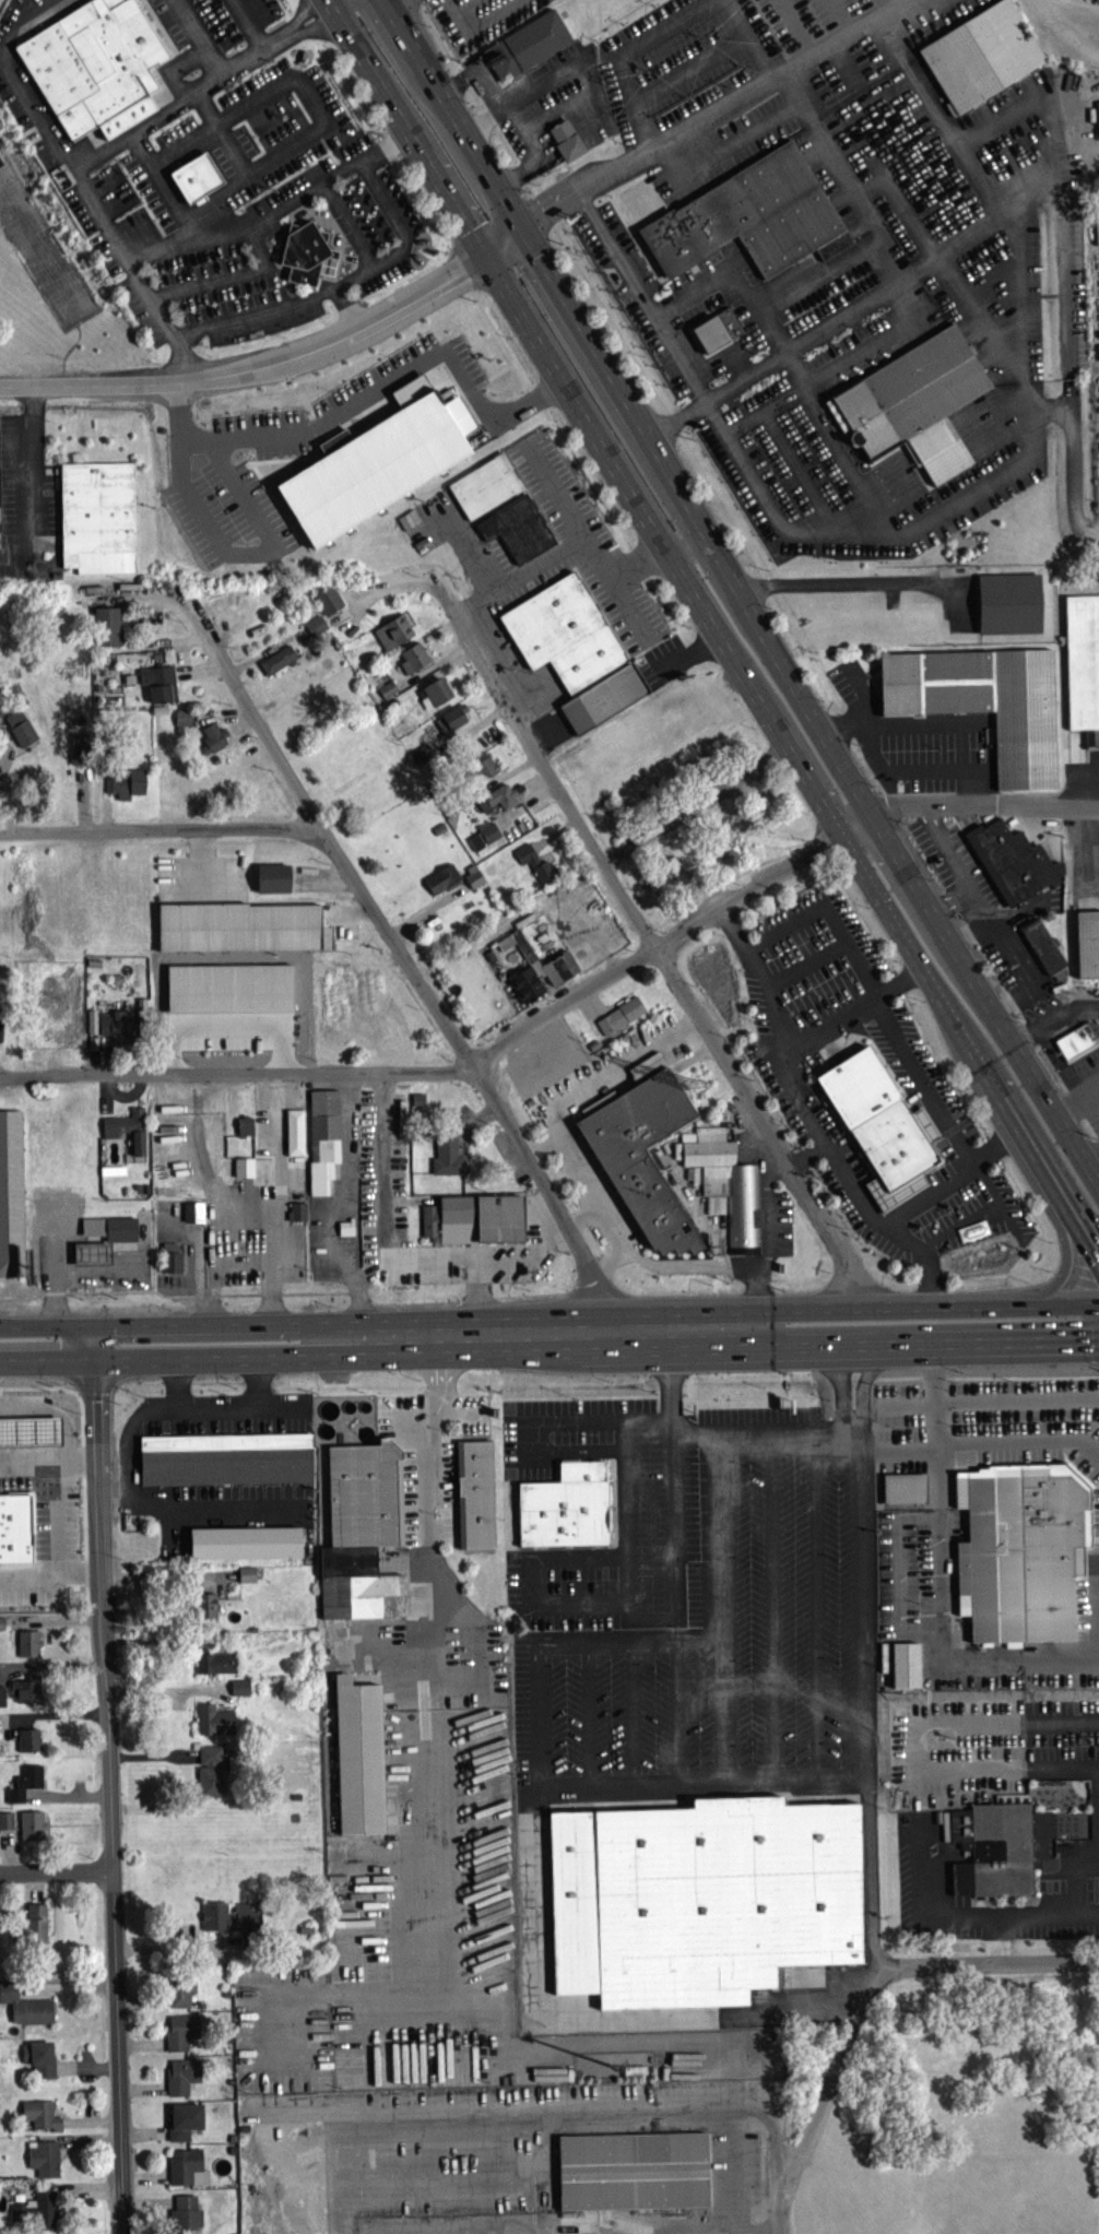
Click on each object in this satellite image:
road: (387, 2)
building: (527, 44)
building: (981, 54)
road: (235, 64)
building: (96, 66)
road: (544, 90)
road: (483, 97)
road: (624, 99)
road: (726, 106)
building: (1097, 120)
road: (146, 121)
road: (741, 135)
building: (567, 139)
parking lot: (911, 140)
road: (530, 154)
road: (267, 163)
building: (197, 176)
road: (79, 178)
road: (852, 189)
road: (270, 214)
road: (532, 216)
building: (752, 216)
traffic signals: (521, 224)
building: (308, 252)
road: (614, 259)
traffic signals: (476, 264)
road: (824, 272)
road: (697, 292)
road: (1020, 294)
road: (279, 305)
parking lot: (650, 305)
road: (853, 308)
building: (717, 328)
road: (991, 335)
road: (1068, 346)
road: (279, 363)
road: (832, 367)
road: (381, 383)
building: (913, 401)
road: (840, 448)
building: (375, 468)
road: (24, 472)
road: (802, 475)
building: (485, 485)
building: (98, 516)
building: (519, 528)
road: (588, 541)
road: (881, 542)
road: (231, 551)
road: (661, 557)
road: (520, 577)
road: (745, 588)
road: (850, 589)
building: (1008, 601)
building: (327, 603)
building: (315, 629)
building: (106, 630)
building: (564, 631)
road: (712, 631)
building: (392, 636)
building: (412, 662)
building: (276, 664)
building: (1082, 672)
building: (157, 687)
building: (386, 694)
building: (433, 697)
building: (604, 697)
road: (868, 699)
building: (984, 700)
building: (181, 722)
building: (450, 723)
road: (927, 723)
building: (19, 732)
parking lot: (908, 736)
building: (211, 743)
building: (78, 753)
building: (416, 757)
building: (483, 772)
road: (911, 772)
building: (125, 788)
road: (1091, 789)
road: (990, 801)
building: (498, 802)
road: (695, 806)
road: (156, 827)
building: (483, 839)
road: (946, 846)
road: (1088, 859)
building: (1012, 860)
parking lot: (955, 863)
building: (533, 866)
building: (271, 883)
building: (441, 884)
road: (966, 889)
building: (243, 926)
road: (651, 938)
road: (681, 938)
building: (1087, 942)
building: (1043, 944)
road: (1018, 957)
road: (403, 958)
parking lot: (1013, 958)
building: (536, 960)
building: (228, 992)
road: (848, 1017)
road: (1056, 1018)
building: (619, 1019)
building: (114, 1025)
building: (0, 1038)
building: (1078, 1038)
road: (908, 1061)
building: (646, 1071)
road: (237, 1073)
road: (1078, 1099)
road: (1094, 1100)
building: (416, 1108)
road: (806, 1118)
building: (882, 1126)
building: (244, 1131)
building: (127, 1133)
building: (296, 1137)
building: (323, 1137)
road: (542, 1146)
building: (642, 1155)
road: (808, 1157)
building: (446, 1159)
road: (1092, 1160)
road: (574, 1162)
building: (245, 1166)
building: (111, 1174)
road: (950, 1181)
building: (729, 1187)
building: (11, 1194)
road: (276, 1198)
building: (297, 1210)
road: (583, 1216)
building: (192, 1217)
building: (473, 1224)
road: (767, 1224)
building: (347, 1226)
parking lot: (251, 1237)
building: (116, 1240)
road: (1065, 1250)
road: (398, 1256)
building: (172, 1257)
road: (610, 1261)
road: (474, 1299)
road: (896, 1304)
road: (205, 1325)
road: (46, 1327)
traffic signals: (92, 1327)
road: (507, 1331)
road: (896, 1341)
road: (92, 1343)
road: (1090, 1343)
road: (208, 1356)
road: (46, 1358)
traffic signals: (92, 1358)
road: (217, 1406)
road: (25, 1409)
building: (9, 1425)
gas station: (9, 1425)
road: (524, 1428)
road: (132, 1442)
road: (967, 1446)
building: (227, 1458)
road: (48, 1461)
road: (722, 1469)
building: (9, 1480)
building: (476, 1492)
building: (902, 1492)
building: (366, 1494)
road: (428, 1494)
building: (566, 1505)
road: (673, 1505)
parking lot: (658, 1513)
road: (629, 1533)
building: (244, 1547)
building: (1023, 1553)
building: (246, 1579)
road: (530, 1581)
road: (817, 1605)
road: (772, 1606)
building: (204, 1610)
parking lot: (732, 1619)
road: (1098, 1619)
road: (941, 1631)
building: (26, 1647)
building: (202, 1647)
building: (215, 1667)
building: (903, 1669)
building: (239, 1691)
building: (25, 1694)
building: (1, 1701)
road: (634, 1712)
road: (677, 1712)
road: (589, 1713)
building: (213, 1725)
building: (28, 1745)
road: (913, 1746)
parking lot: (991, 1748)
building: (357, 1761)
building: (210, 1775)
road: (685, 1782)
building: (24, 1787)
road: (109, 1795)
building: (5, 1825)
building: (31, 1830)
building: (1000, 1846)
parking lot: (920, 1856)
road: (1091, 1861)
road: (56, 1872)
road: (1071, 1875)
building: (701, 1896)
road: (956, 1915)
building: (228, 1923)
building: (34, 1929)
building: (178, 1995)
road: (862, 1998)
building: (24, 2010)
road: (695, 2017)
building: (179, 2036)
building: (38, 2062)
building: (181, 2081)
road: (376, 2117)
building: (39, 2119)
road: (732, 2119)
building: (184, 2125)
building: (43, 2163)
building: (182, 2170)
building: (631, 2176)
road: (334, 2209)
building: (35, 2215)
building: (185, 2218)

